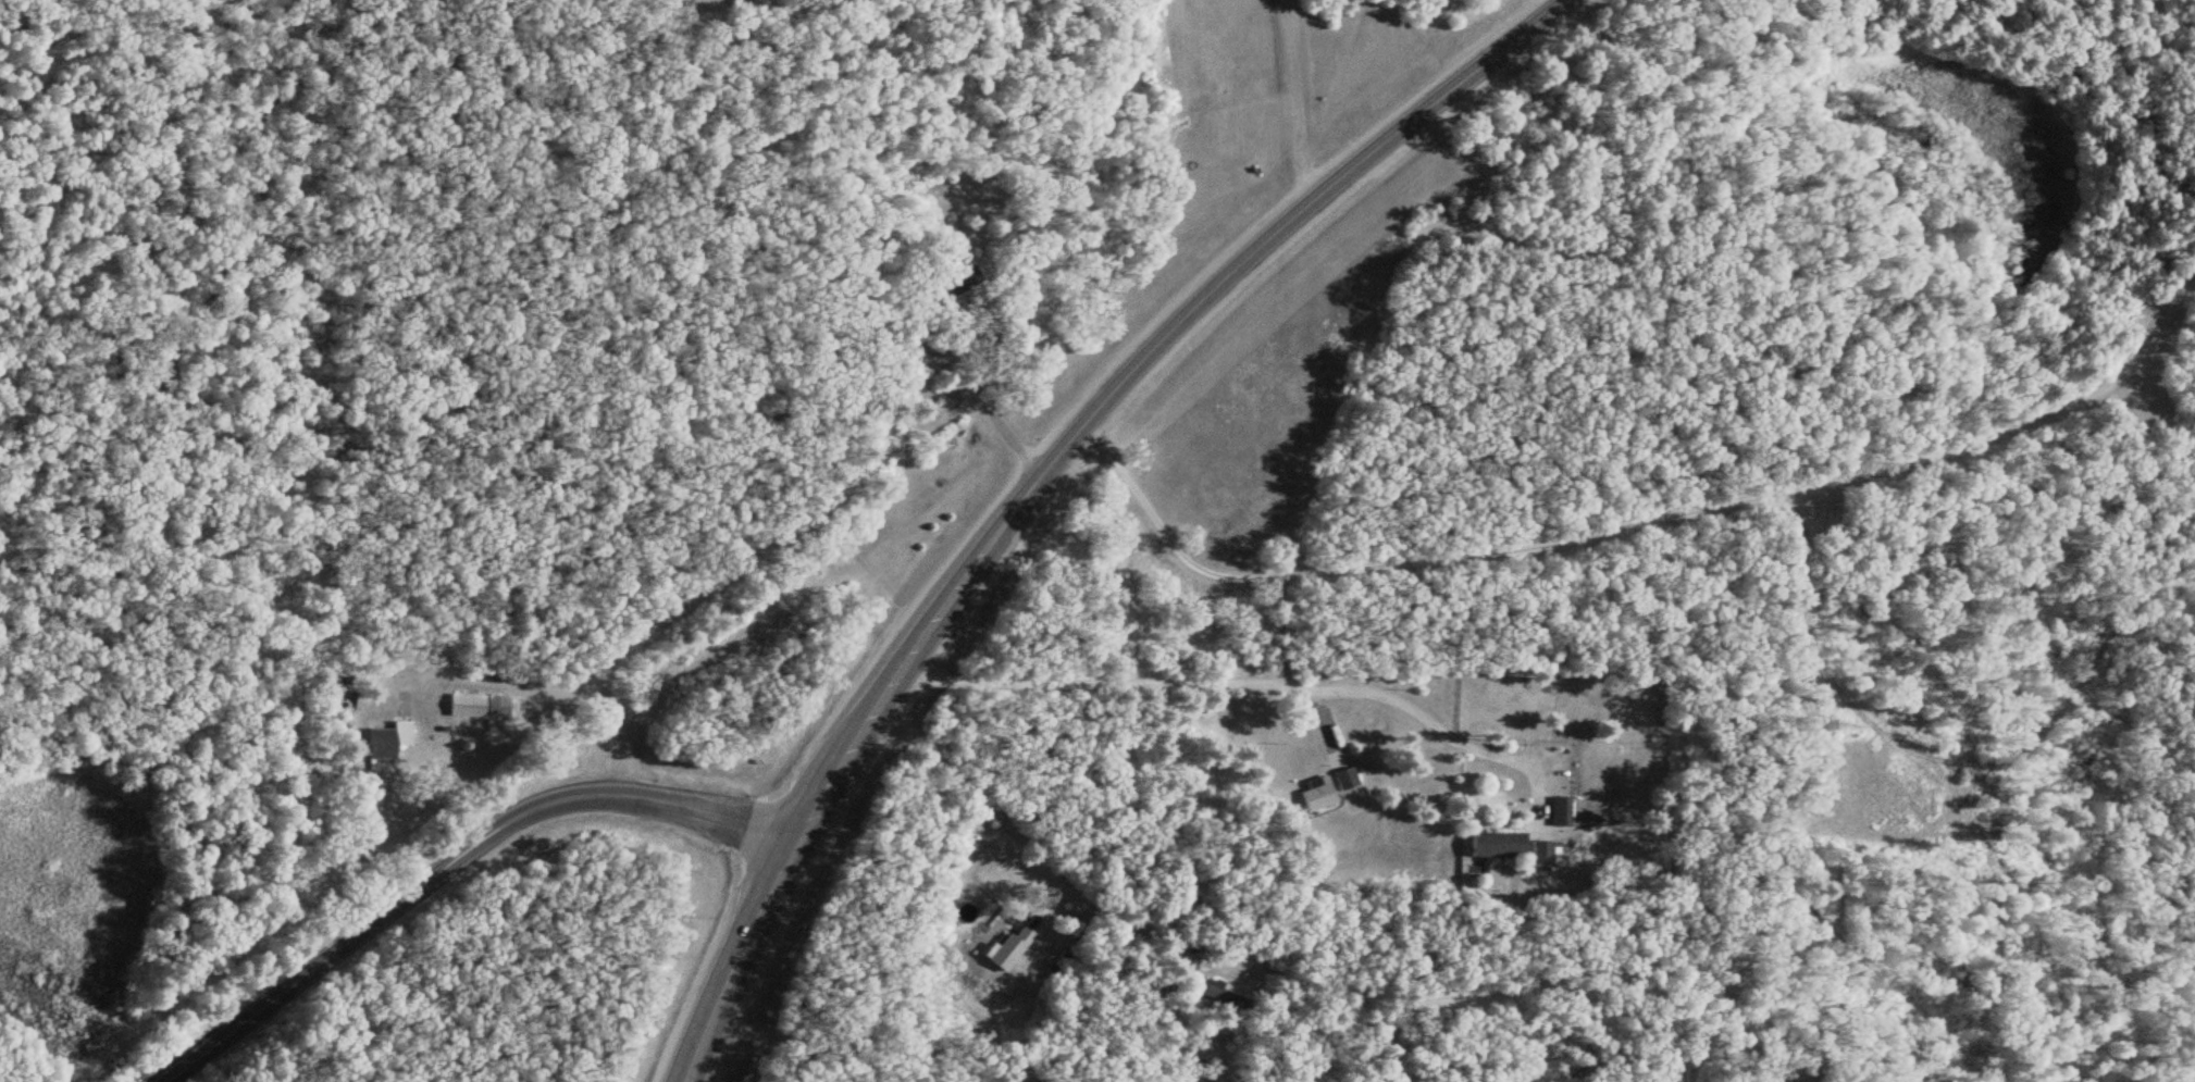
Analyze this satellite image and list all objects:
road: (1292, 102)
road: (994, 411)
road: (1037, 474)
road: (1713, 501)
road: (543, 679)
road: (1211, 680)
building: (474, 706)
building: (388, 741)
building: (1324, 792)
road: (989, 800)
building: (1563, 812)
building: (1496, 846)
building: (1542, 854)
road: (448, 858)
building: (1010, 948)

